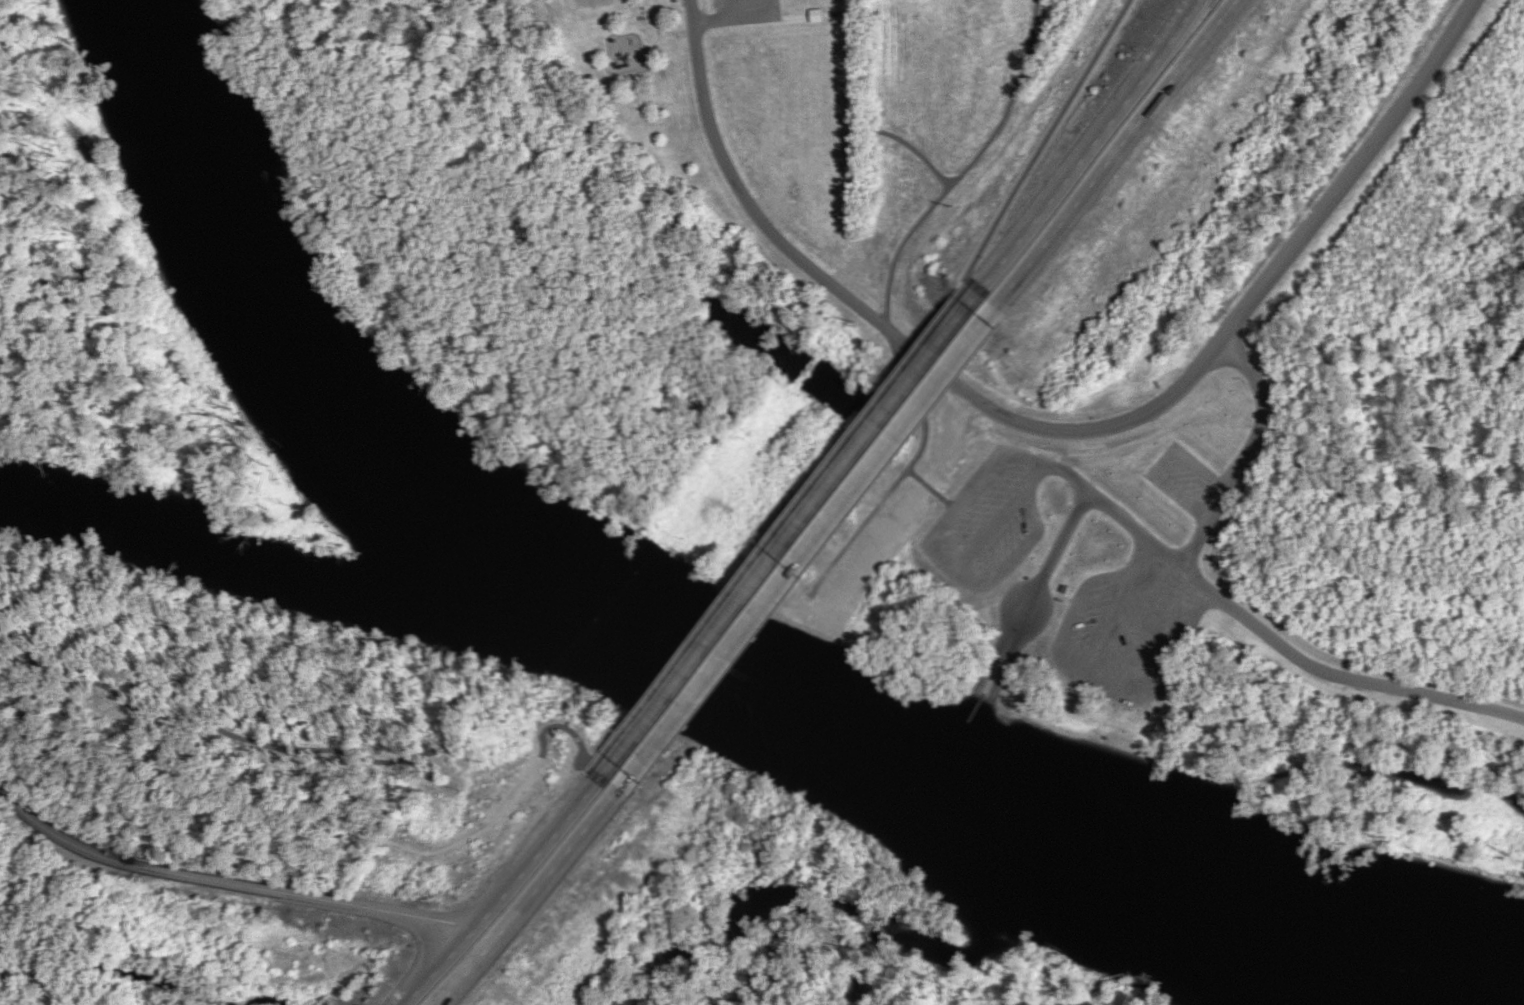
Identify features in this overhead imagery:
park: (618, 54)
road: (1088, 154)
road: (1115, 160)
road: (1172, 174)
road: (778, 244)
road: (1270, 278)
building: (1153, 338)
road: (1243, 454)
road: (788, 532)
road: (806, 546)
road: (855, 580)
road: (1033, 596)
road: (1267, 639)
river: (691, 656)
road: (507, 883)
road: (241, 886)
road: (533, 890)
road: (597, 905)

